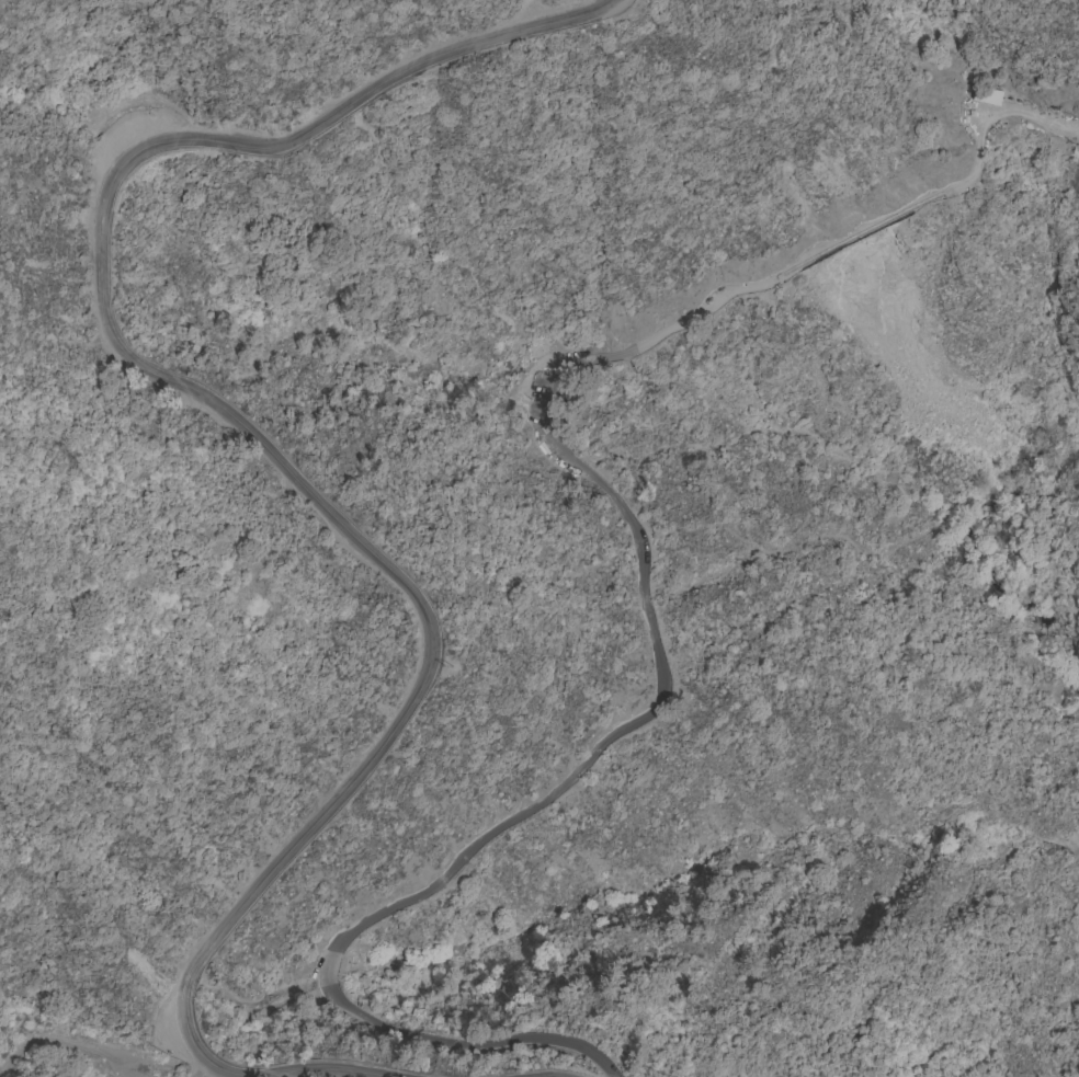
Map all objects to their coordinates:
building: (1058, 139)
road: (225, 414)
road: (650, 584)
road: (65, 1044)
road: (319, 1072)
road: (209, 1073)

